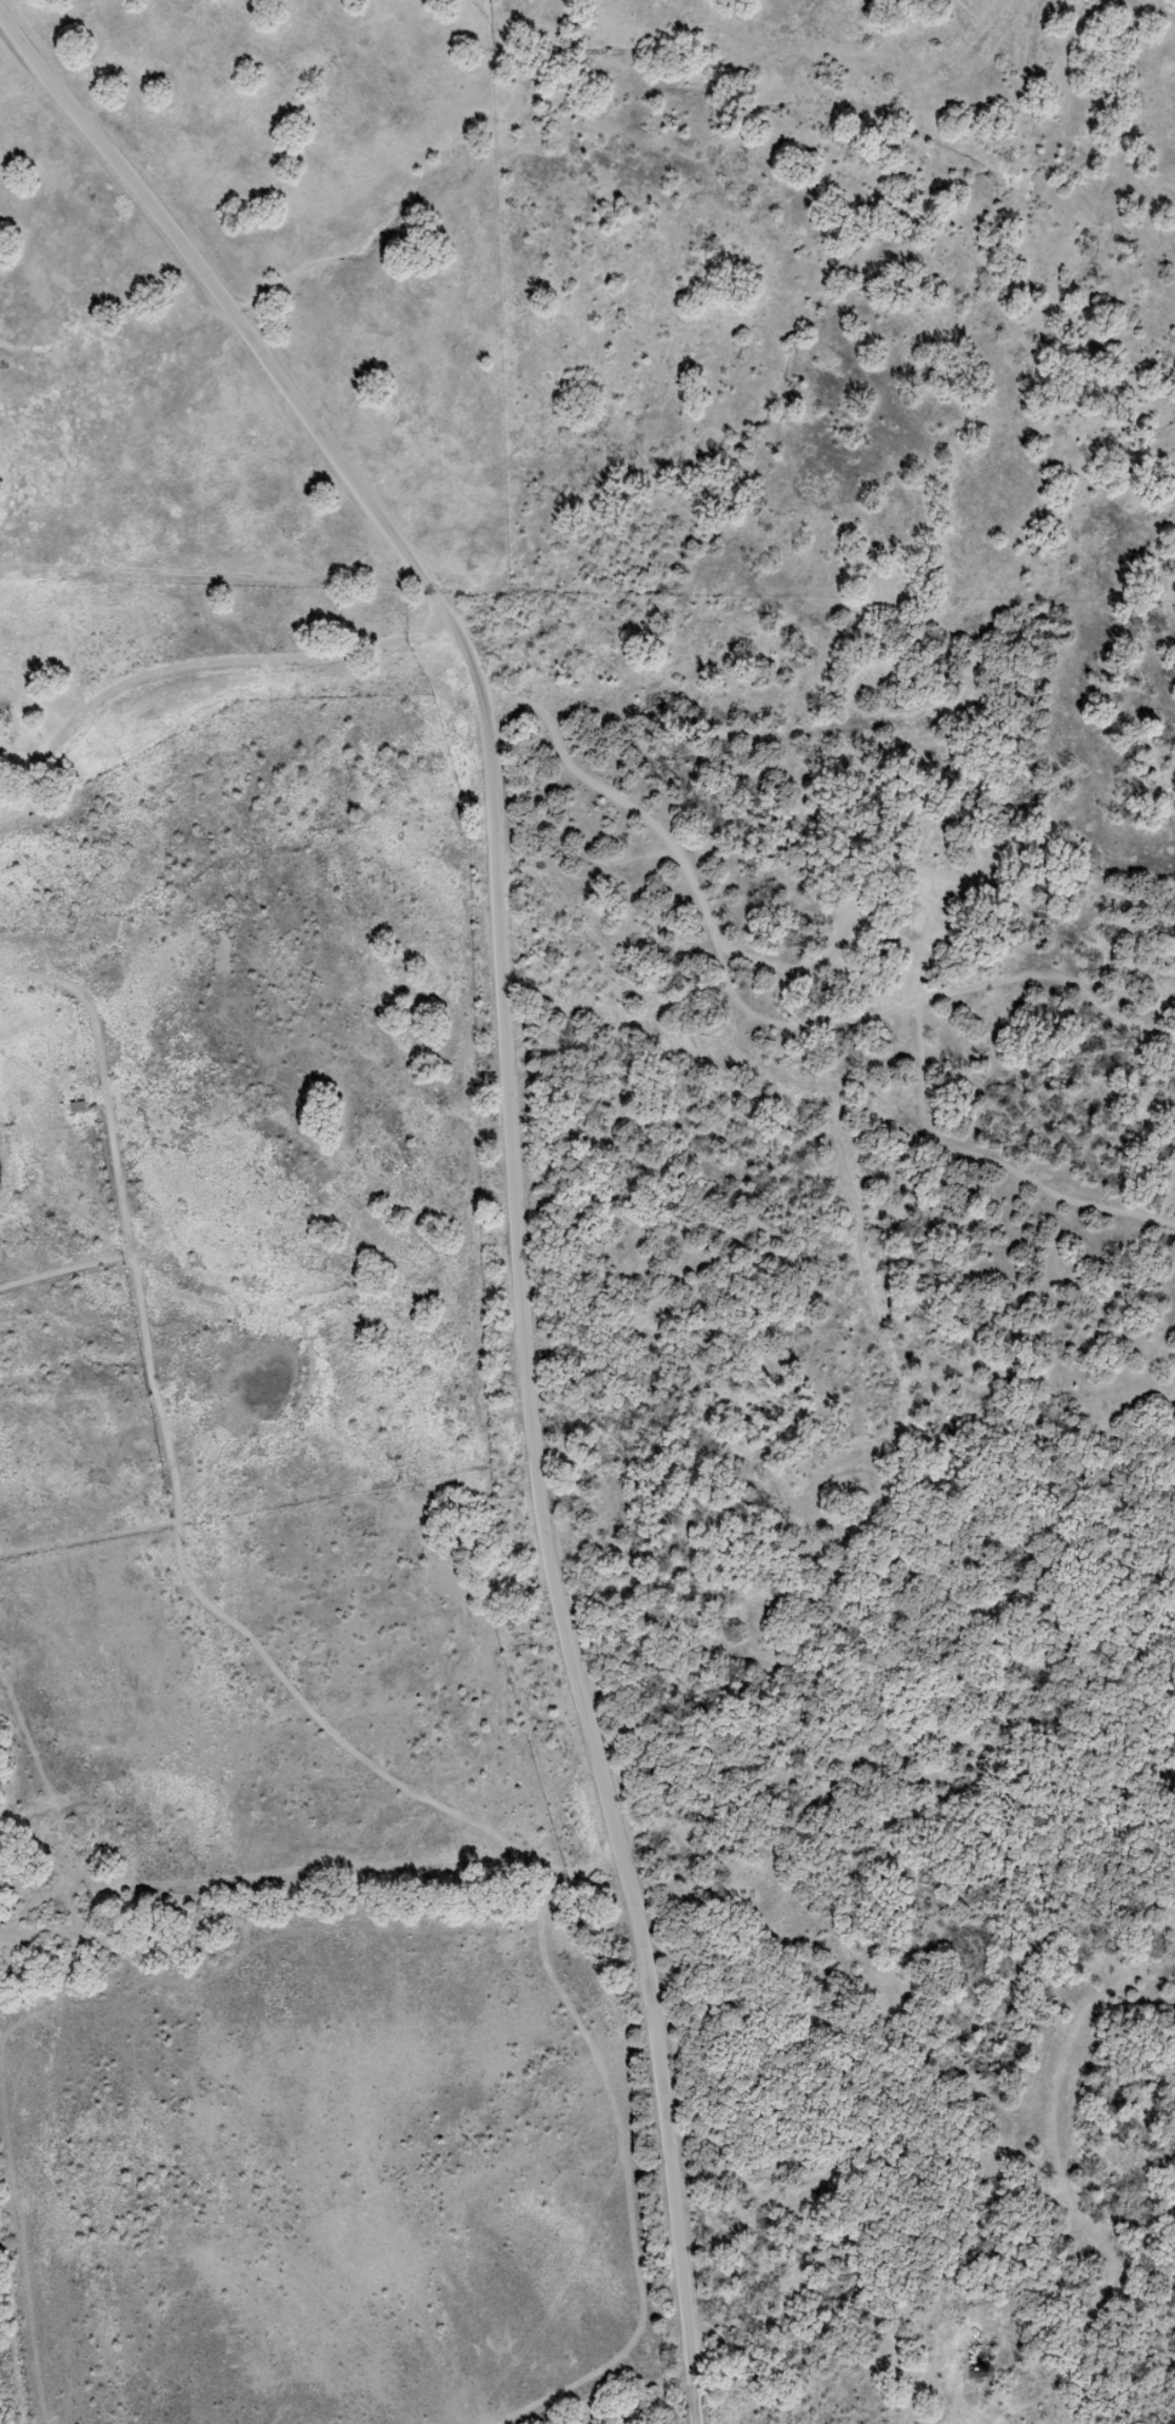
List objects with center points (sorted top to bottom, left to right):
road: (512, 1144)

